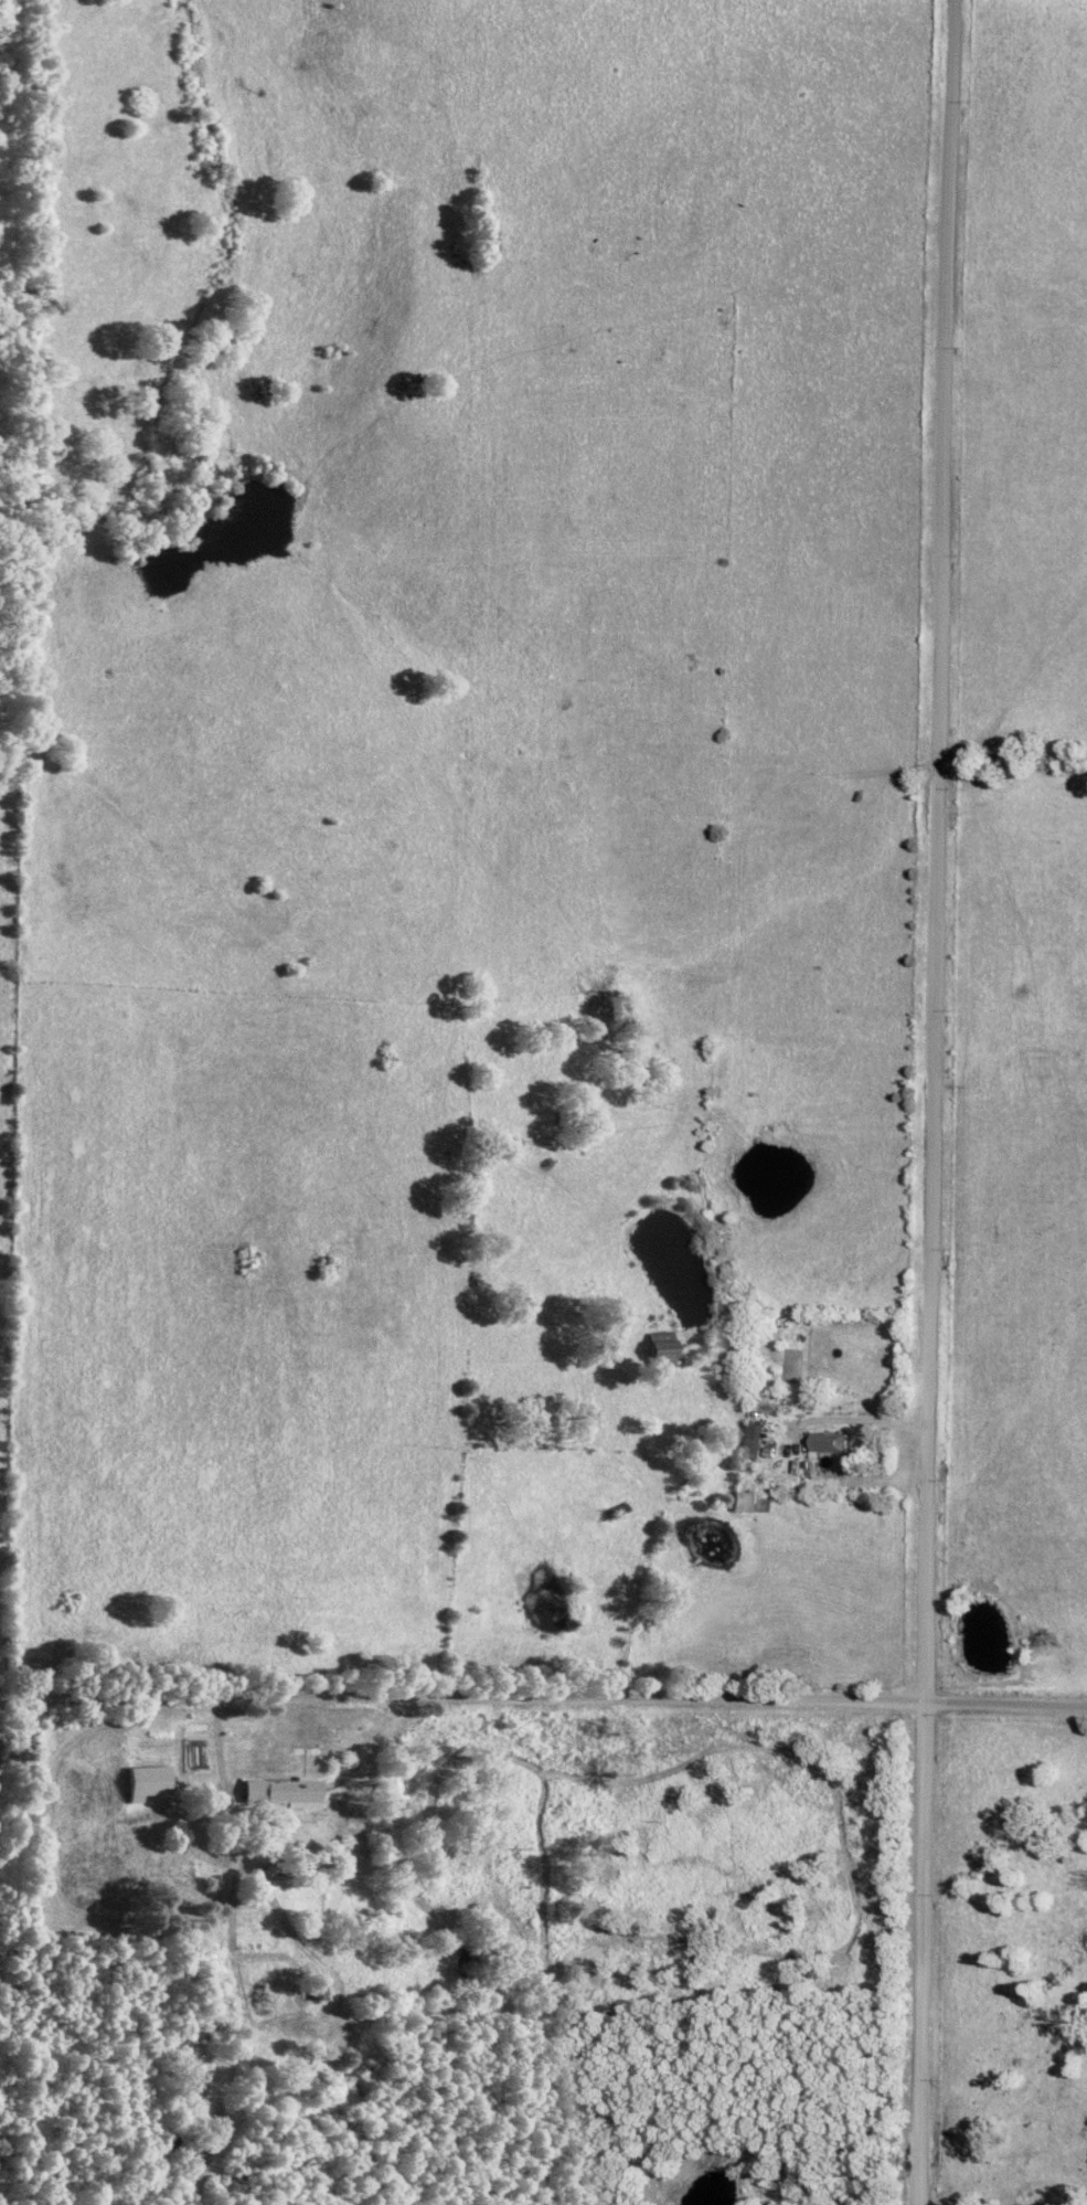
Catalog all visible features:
road: (926, 1102)
building: (658, 1356)
building: (748, 1448)
building: (824, 1450)
building: (742, 1507)
road: (543, 1697)
building: (279, 1796)
building: (313, 1993)

